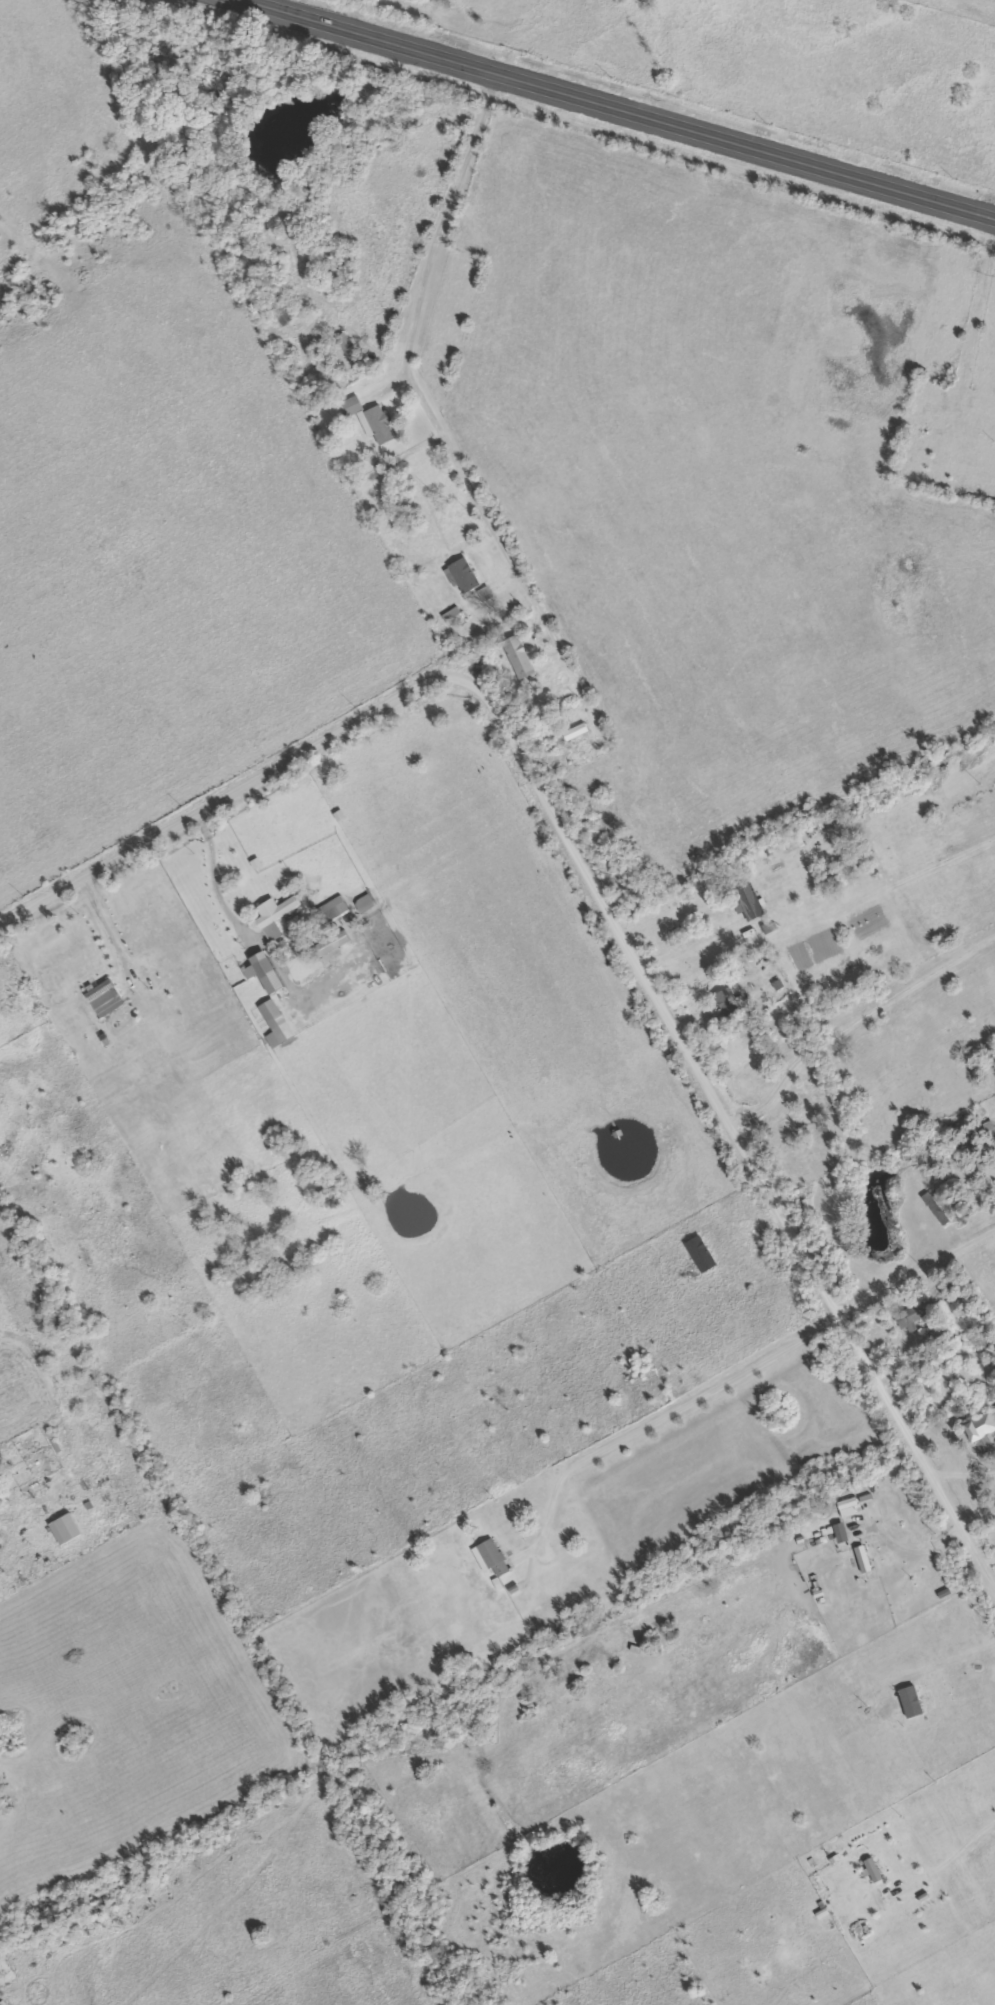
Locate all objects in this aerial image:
road: (554, 33)
road: (632, 105)
building: (284, 315)
building: (350, 348)
building: (352, 406)
building: (379, 424)
building: (465, 576)
building: (520, 657)
building: (581, 732)
road: (601, 897)
building: (752, 902)
building: (370, 904)
building: (336, 913)
building: (900, 914)
building: (278, 916)
building: (337, 944)
building: (266, 973)
building: (107, 999)
building: (730, 1002)
building: (273, 1015)
building: (937, 1209)
building: (951, 1230)
building: (706, 1255)
building: (914, 1317)
road: (657, 1414)
building: (983, 1431)
building: (848, 1508)
road: (978, 1517)
building: (67, 1529)
building: (841, 1533)
building: (0, 1543)
building: (491, 1558)
building: (863, 1559)
building: (911, 1702)
building: (873, 1870)

